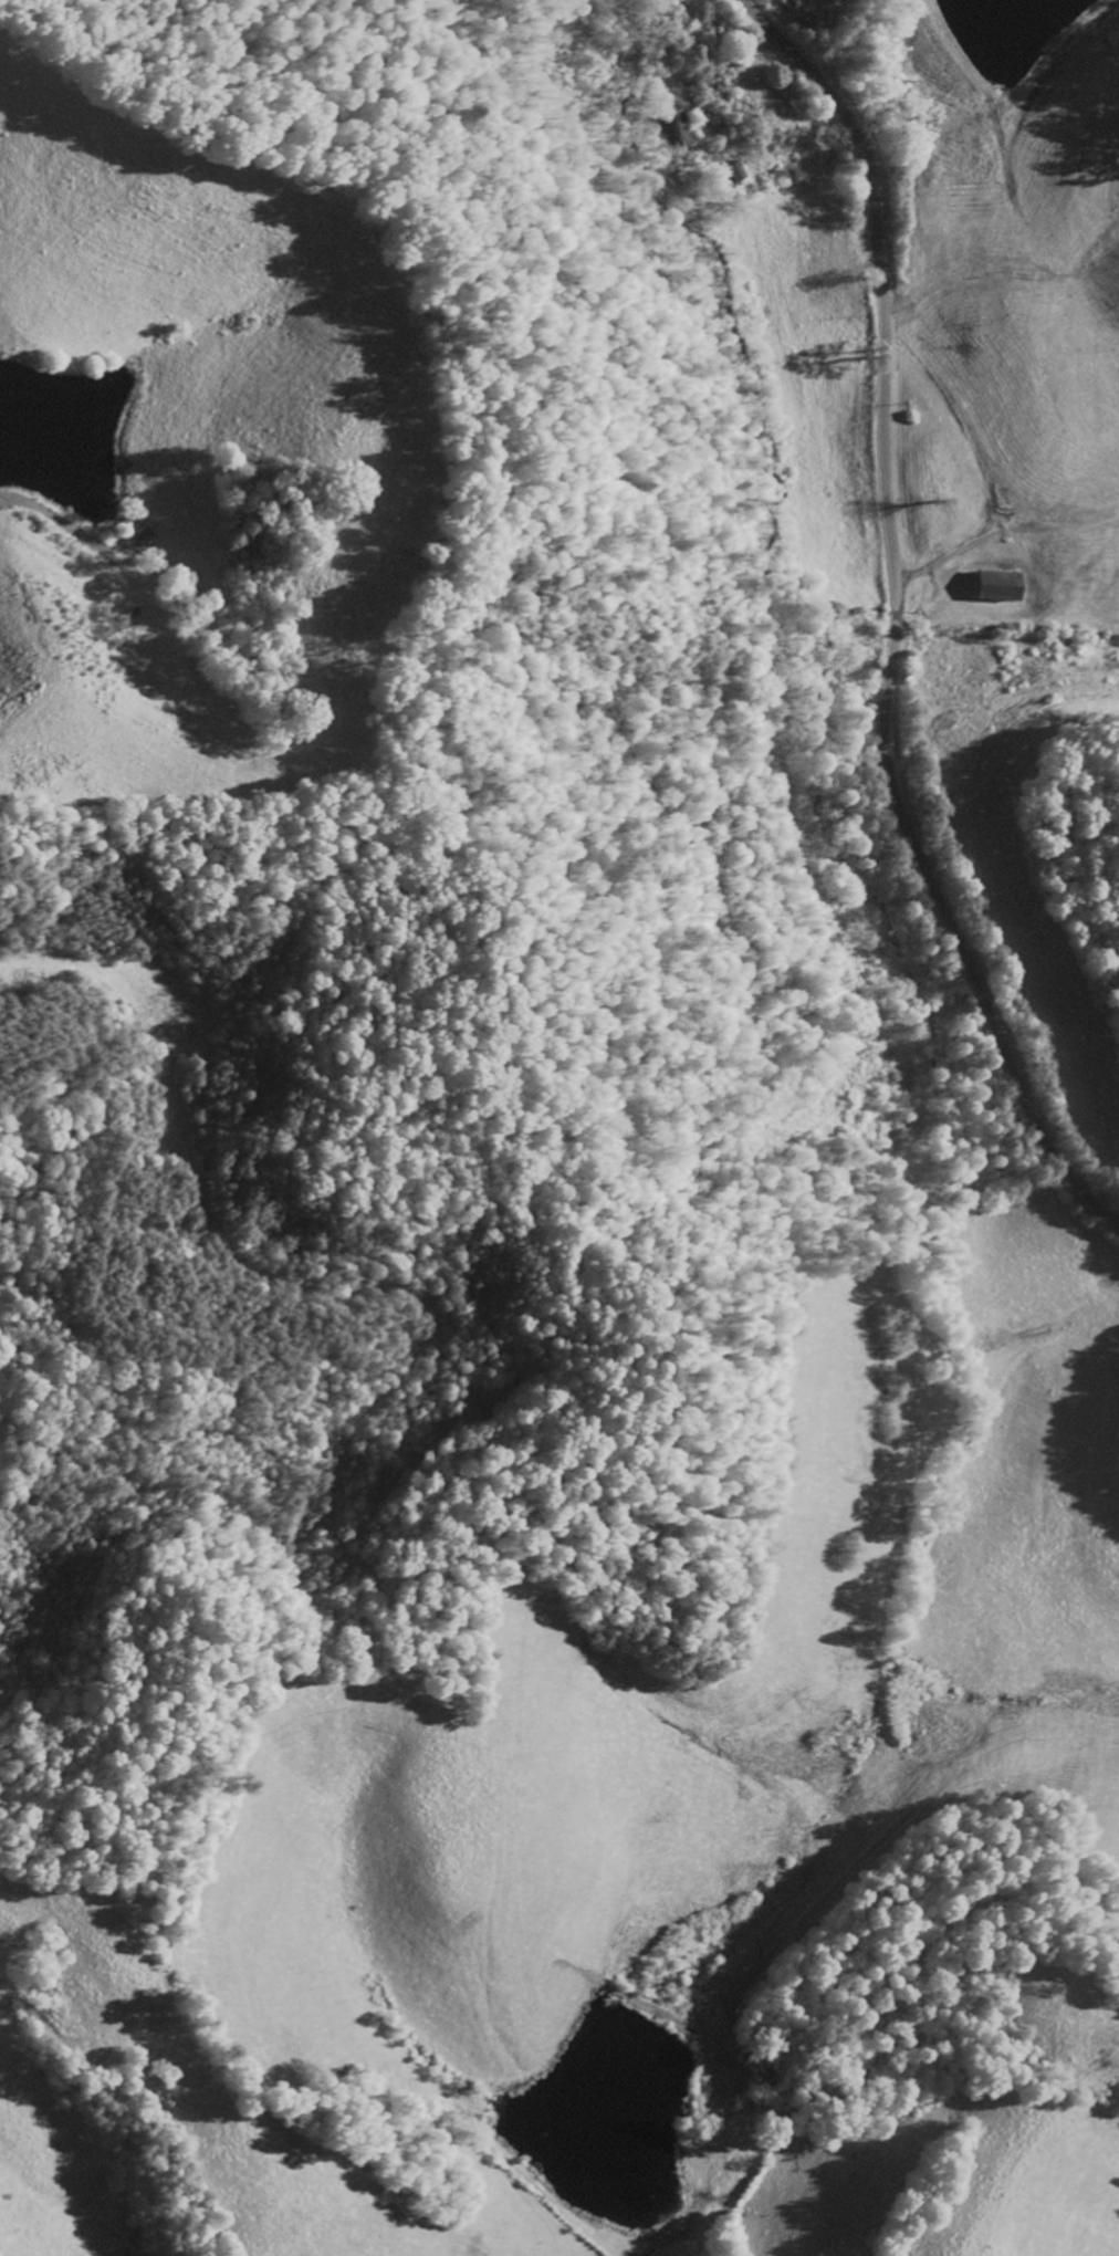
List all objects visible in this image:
building: (143, 535)
building: (1001, 586)
road: (895, 618)

